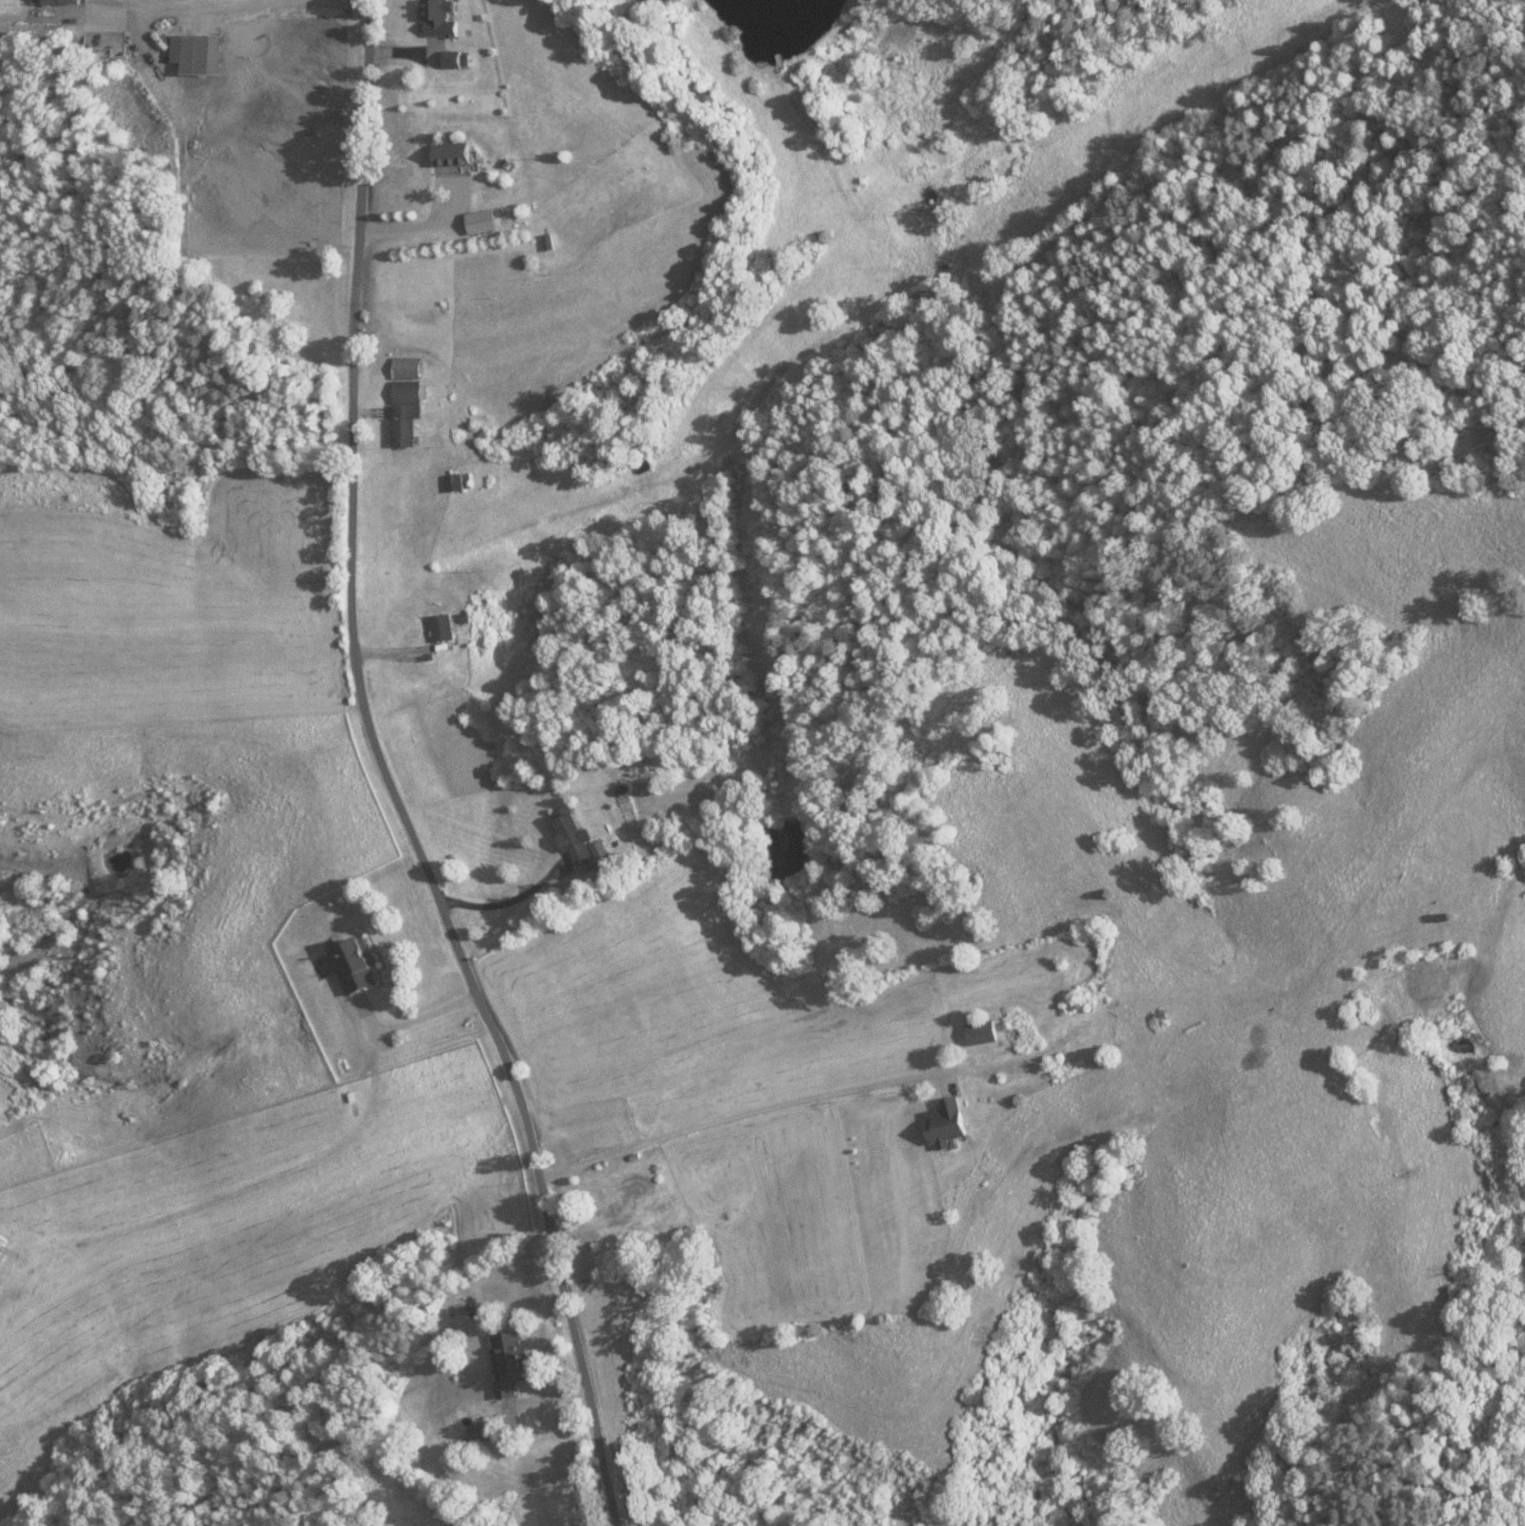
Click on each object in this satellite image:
road: (348, 0)
building: (52, 2)
road: (201, 10)
building: (436, 18)
building: (195, 55)
building: (450, 155)
building: (404, 402)
building: (452, 484)
building: (444, 628)
road: (384, 782)
building: (572, 840)
building: (353, 964)
building: (1089, 996)
road: (429, 1017)
building: (1155, 1018)
road: (736, 1114)
building: (944, 1123)
building: (555, 1150)
building: (614, 1194)
building: (1, 1241)
building: (505, 1362)
building: (477, 1434)

